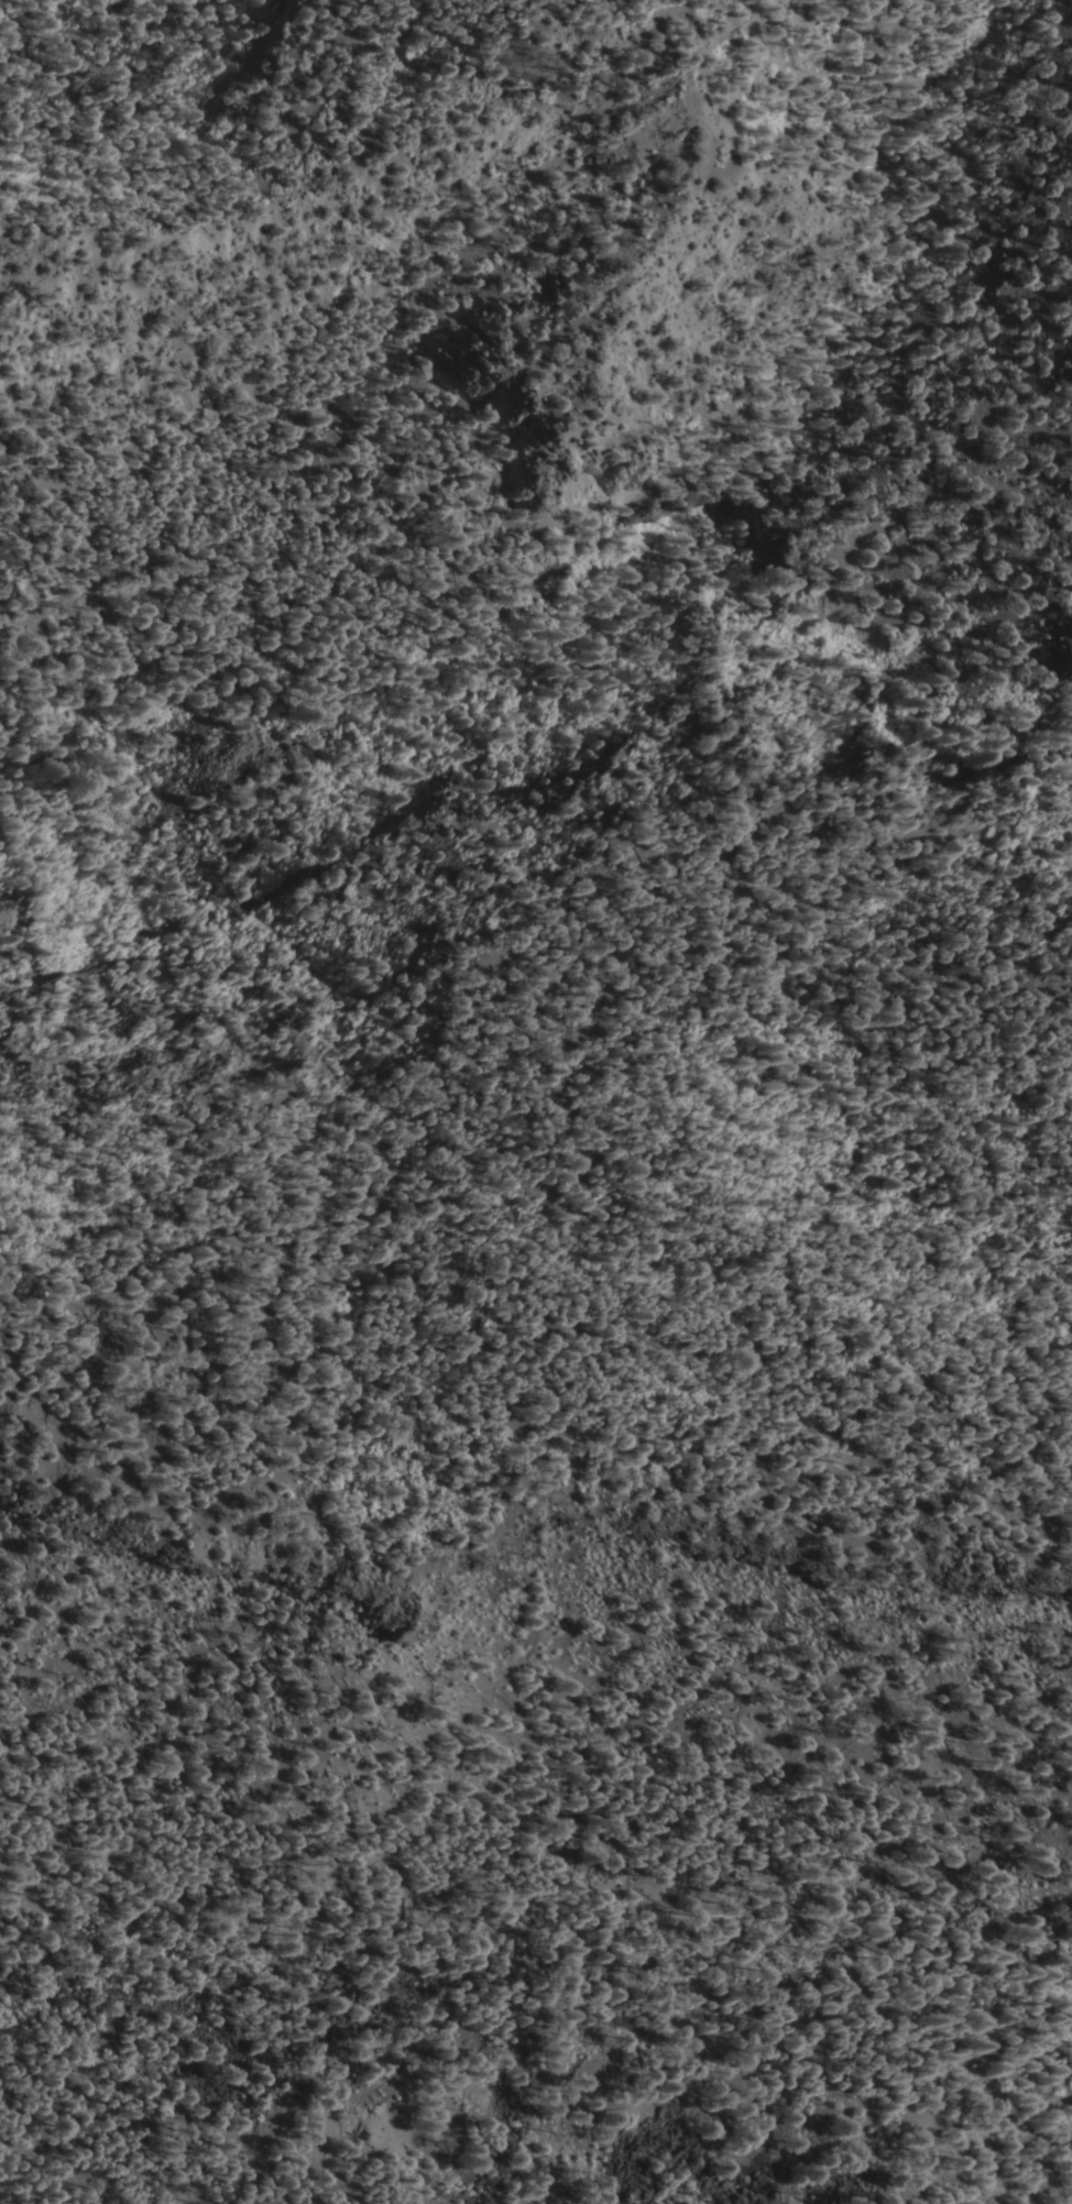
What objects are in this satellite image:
road: (595, 2068)

